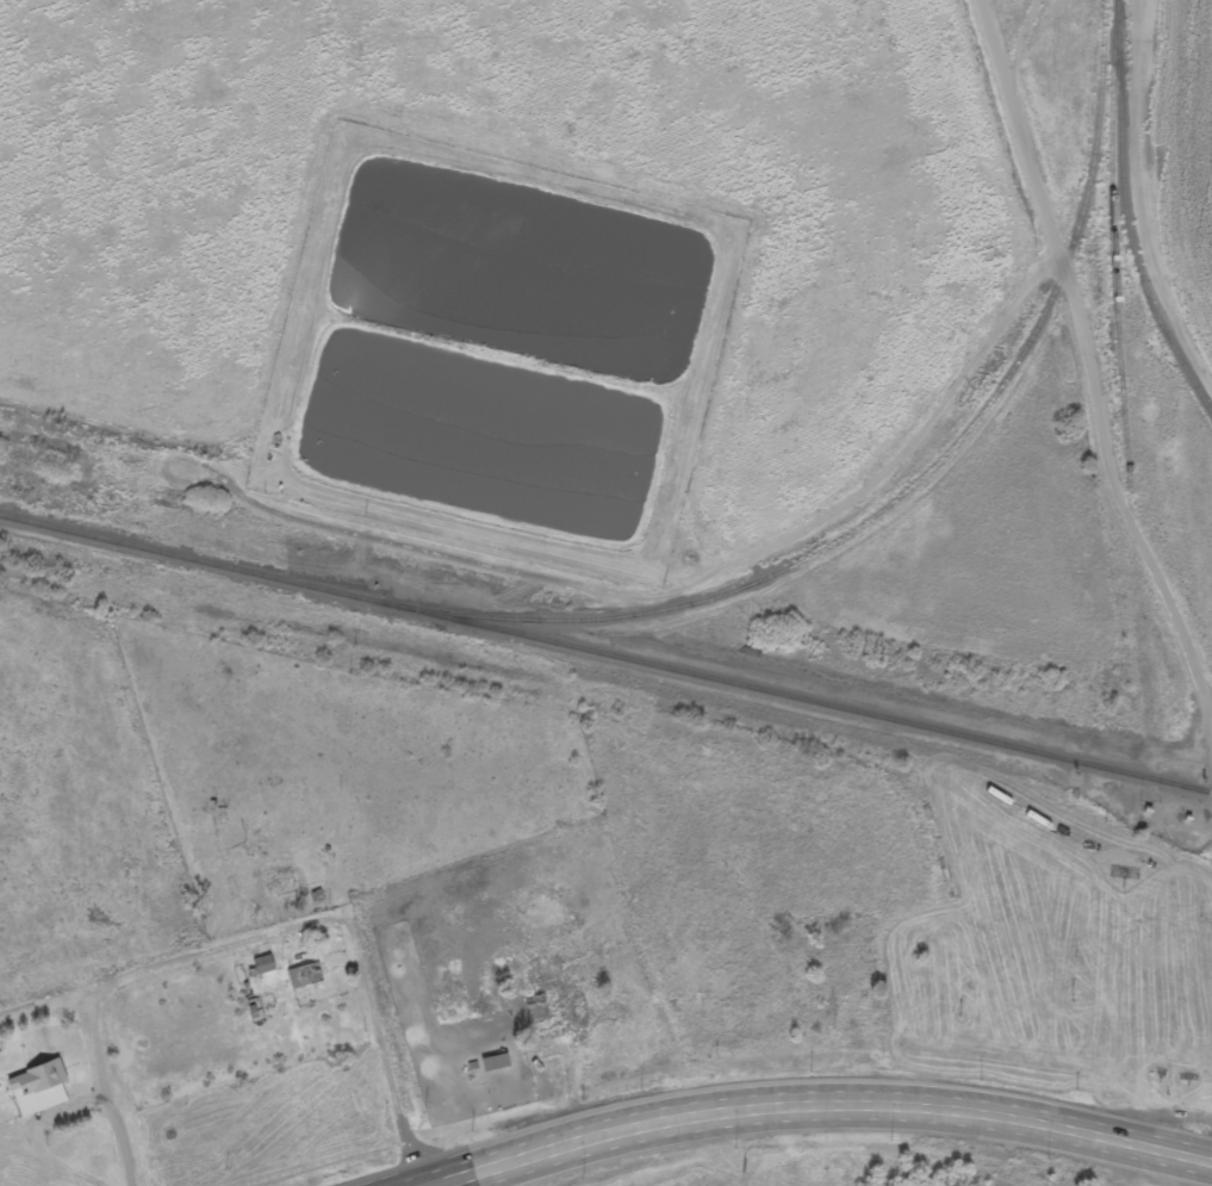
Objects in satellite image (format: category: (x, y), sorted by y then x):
railway: (1129, 228)
railway: (1113, 248)
road: (1090, 367)
railway: (920, 482)
railway: (605, 657)
road: (1210, 696)
railway: (1157, 840)
building: (304, 979)
building: (839, 998)
building: (539, 1008)
building: (547, 1051)
road: (782, 1085)
building: (37, 1091)
road: (835, 1113)
road: (1182, 1160)
road: (425, 1184)

